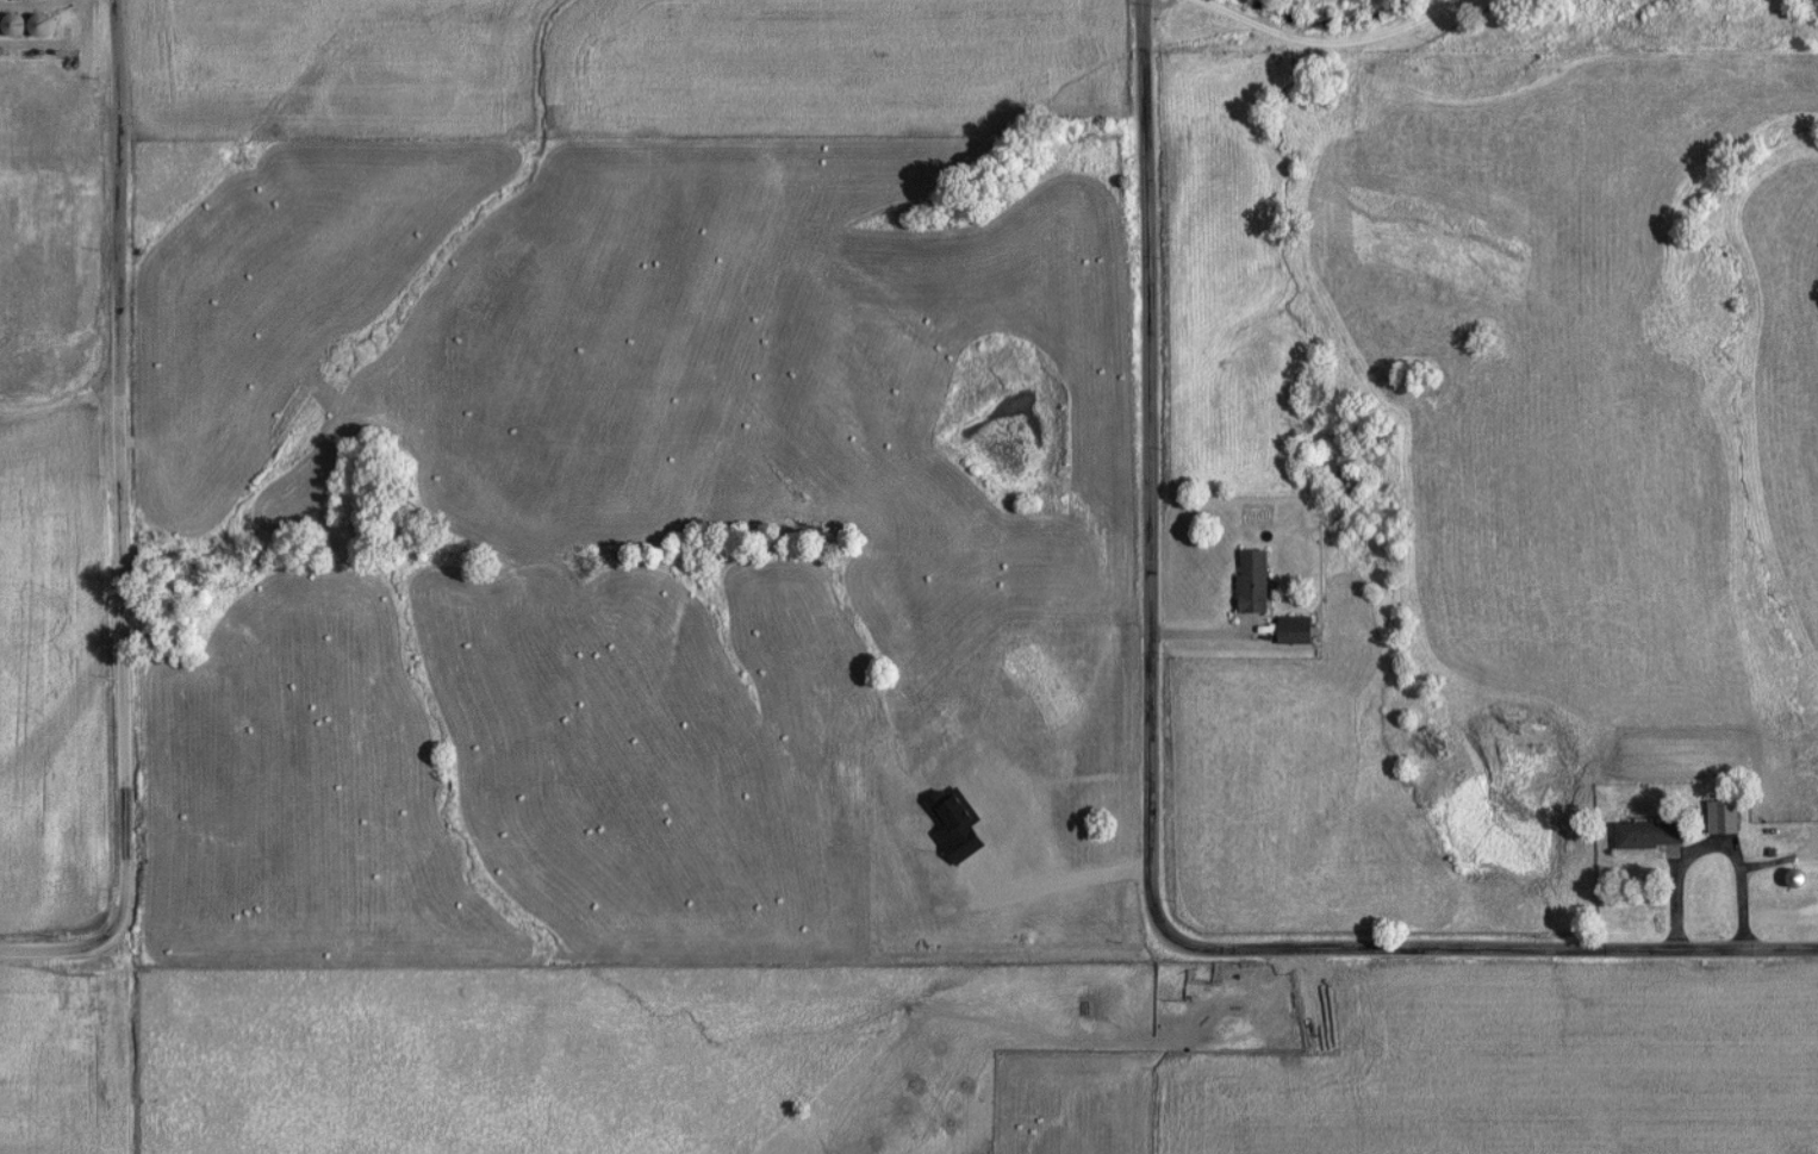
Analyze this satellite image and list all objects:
building: (42, 27)
building: (13, 29)
road: (1327, 49)
building: (66, 108)
building: (23, 113)
building: (31, 220)
building: (32, 298)
road: (122, 523)
building: (1252, 584)
building: (1295, 632)
road: (1151, 793)
building: (1723, 821)
building: (1649, 838)
road: (1711, 841)
road: (1779, 856)
building: (1798, 881)

